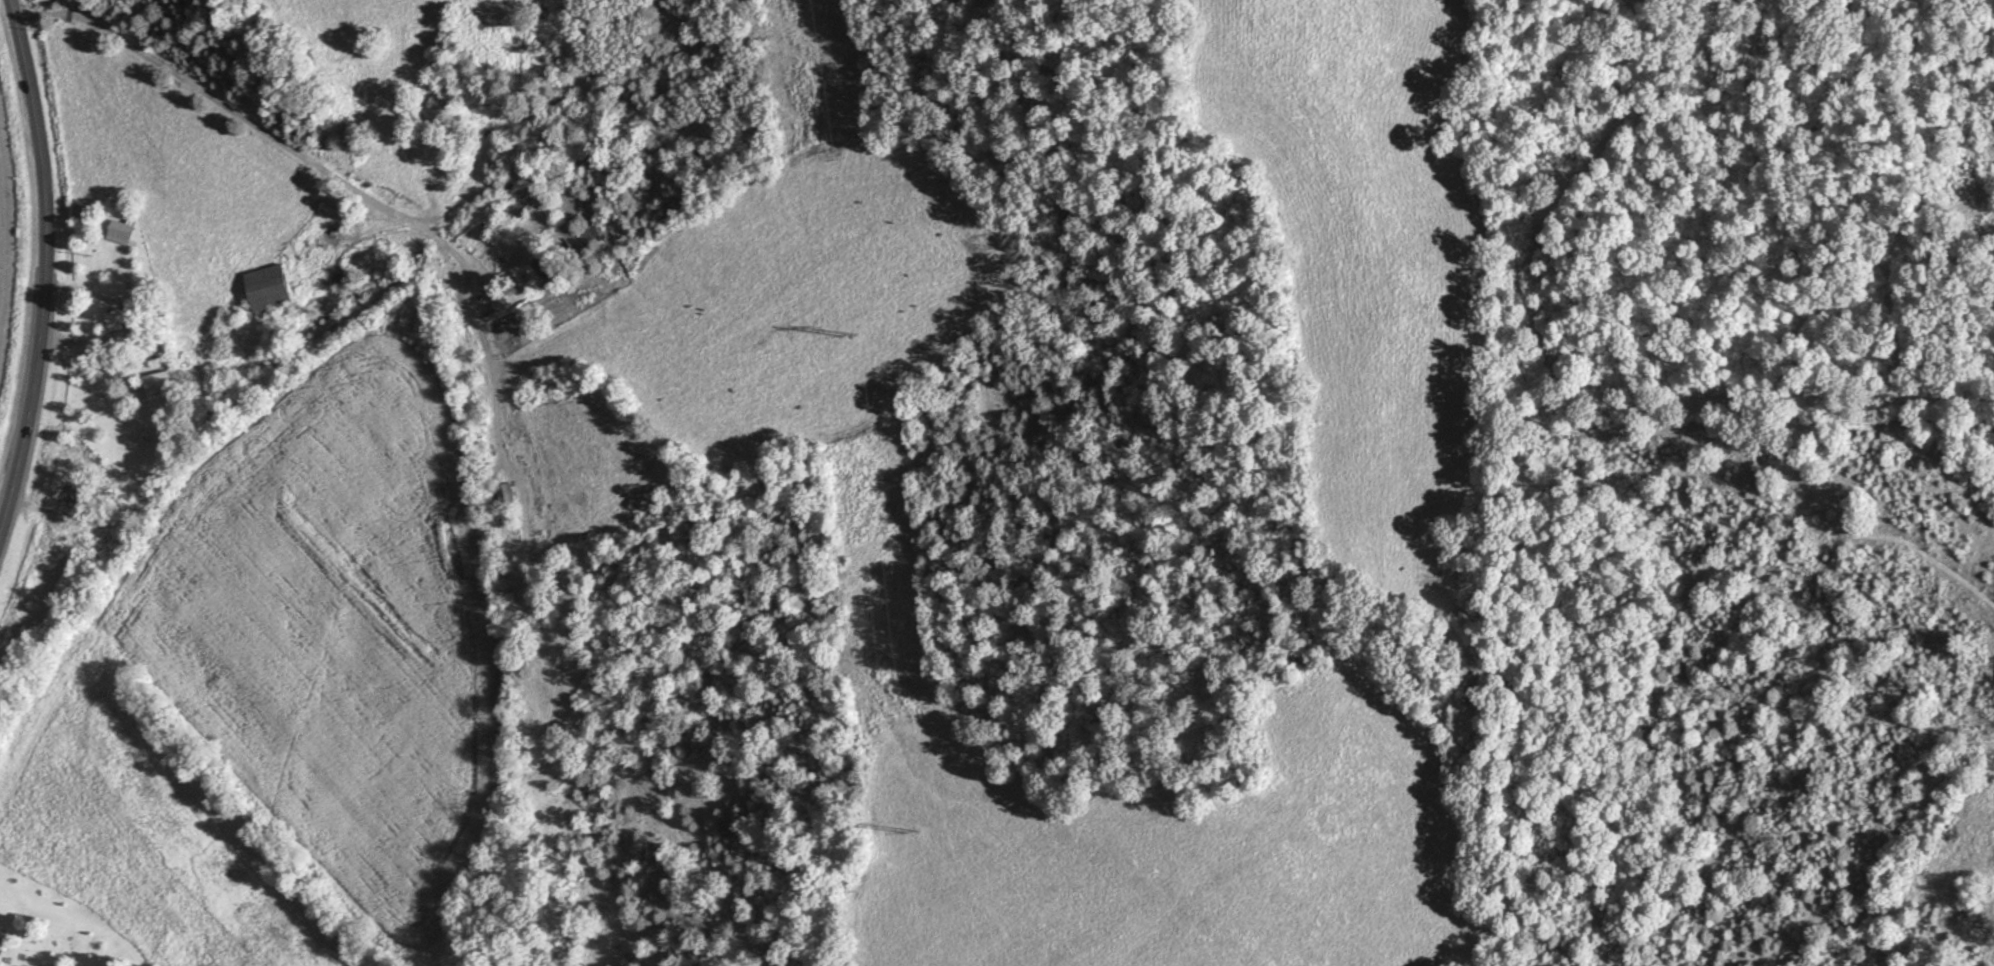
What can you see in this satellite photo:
road: (369, 197)
road: (43, 265)
building: (529, 274)
building: (267, 288)
road: (142, 315)
building: (113, 320)
power tower: (848, 336)
building: (156, 383)
building: (505, 494)
building: (65, 496)
power tower: (911, 832)

